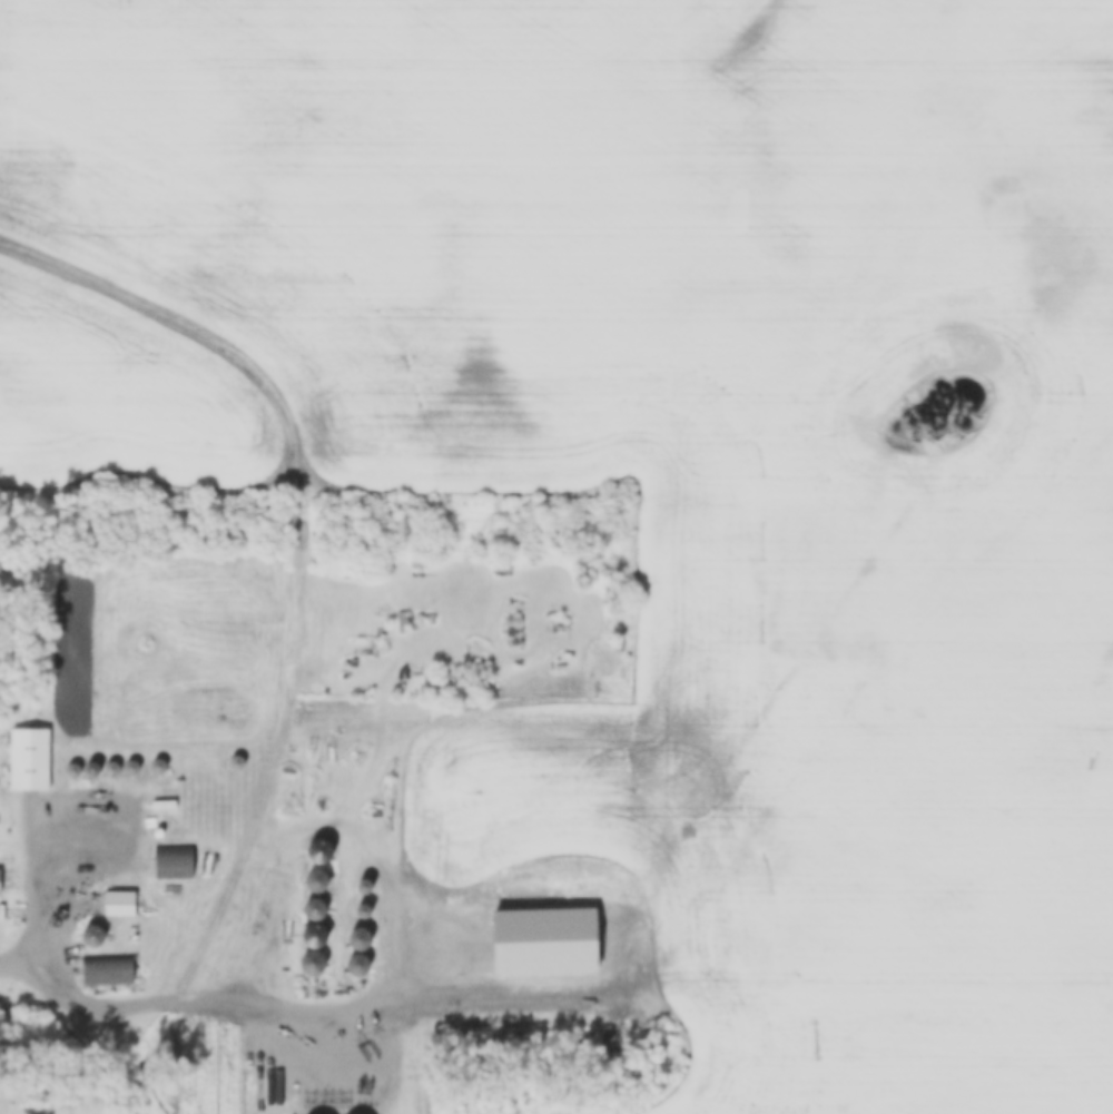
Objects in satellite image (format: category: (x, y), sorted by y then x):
building: (29, 761)
road: (60, 795)
building: (83, 831)
building: (174, 866)
building: (0, 881)
building: (118, 905)
building: (315, 911)
building: (92, 938)
building: (355, 962)
building: (312, 965)
building: (107, 972)
road: (195, 1002)

